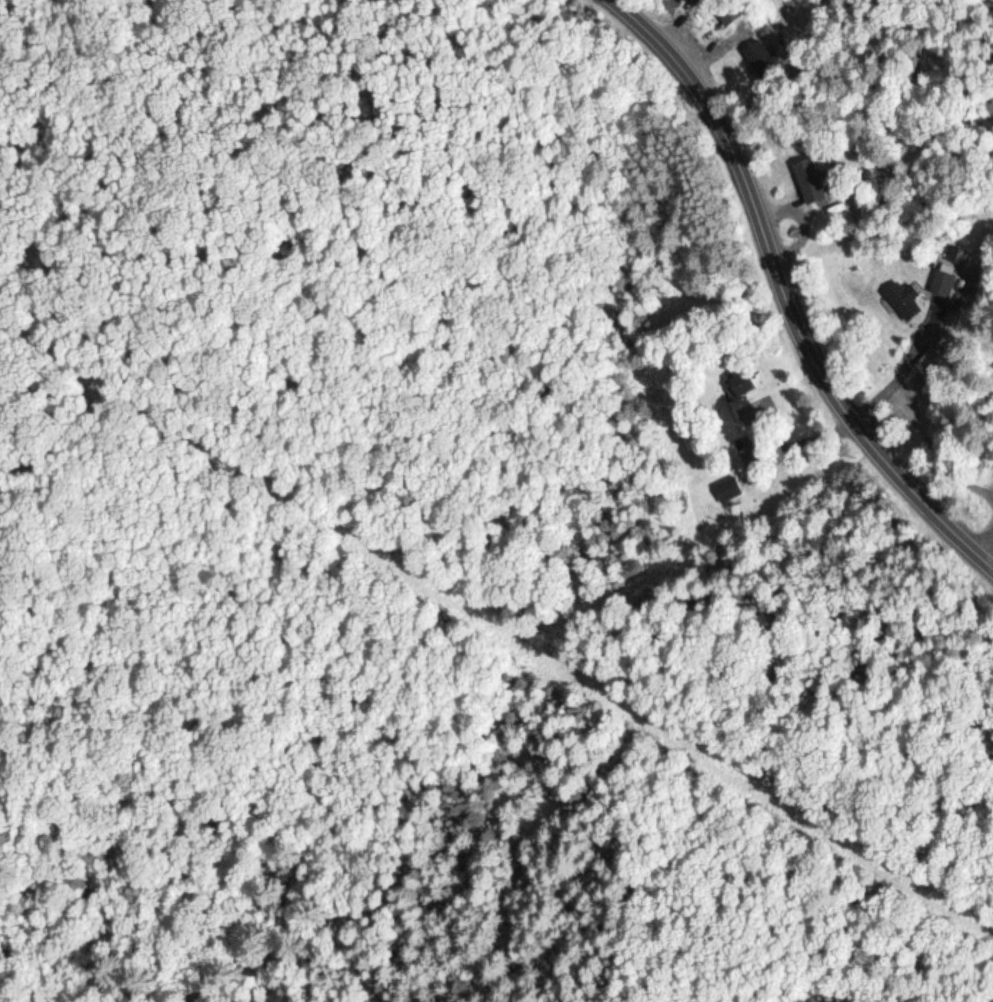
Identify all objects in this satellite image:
building: (709, 0)
building: (727, 16)
building: (763, 58)
building: (811, 180)
building: (946, 279)
road: (788, 289)
building: (905, 300)
building: (931, 362)
building: (741, 378)
building: (729, 489)
road: (838, 877)

